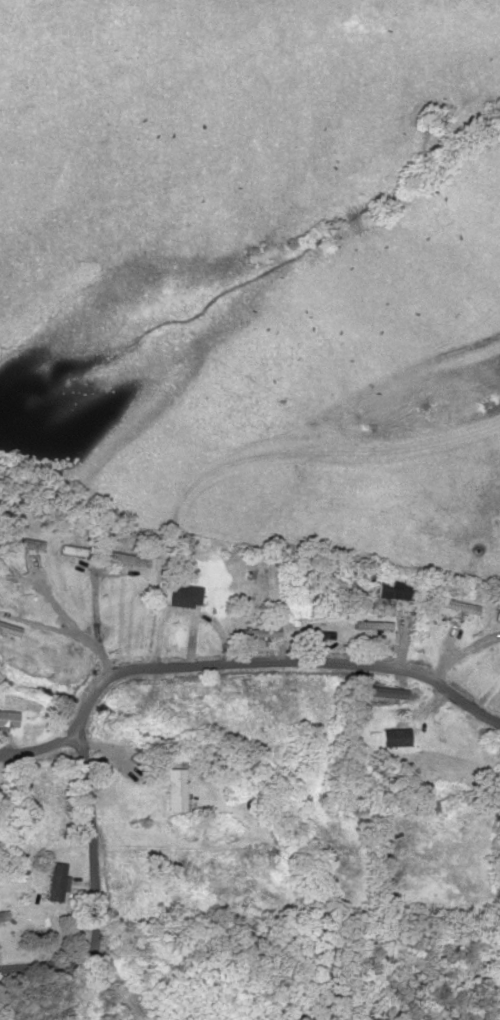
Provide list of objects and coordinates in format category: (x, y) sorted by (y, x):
building: (392, 588)
building: (184, 594)
building: (459, 606)
building: (372, 624)
building: (256, 632)
road: (270, 660)
building: (383, 691)
building: (8, 718)
building: (395, 730)
road: (32, 746)
road: (91, 841)
building: (56, 882)
road: (48, 955)

